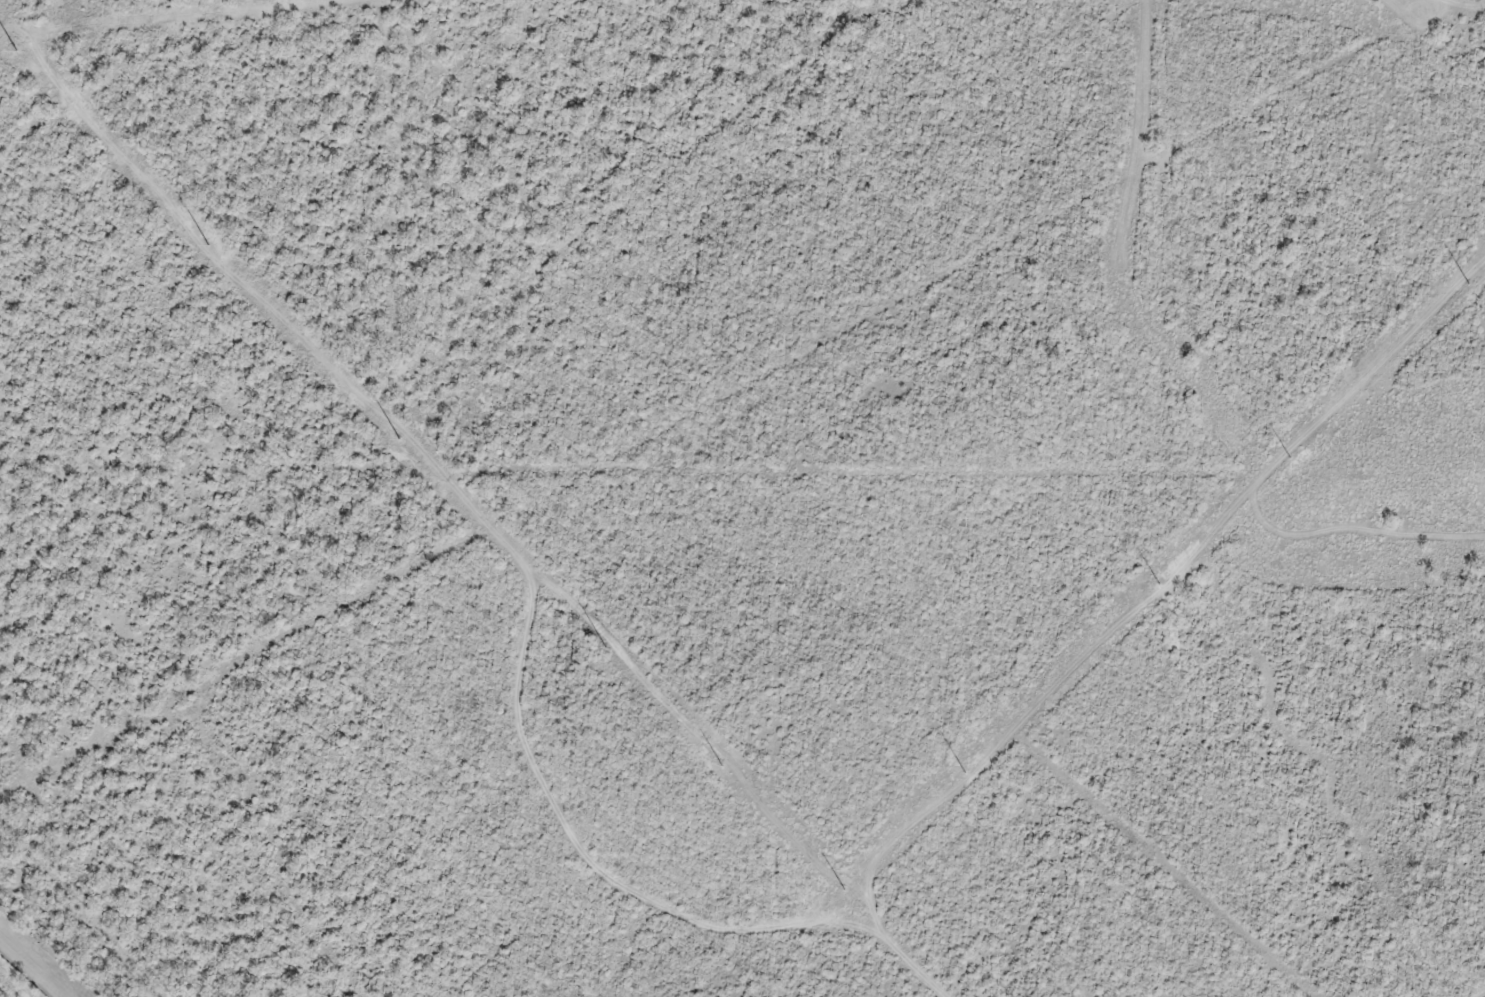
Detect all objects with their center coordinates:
power tower: (16, 52)
power tower: (1470, 282)
power tower: (399, 439)
power tower: (1290, 457)
power tower: (1159, 585)
power tower: (605, 649)
power tower: (723, 768)
power tower: (965, 772)
power tower: (844, 891)

